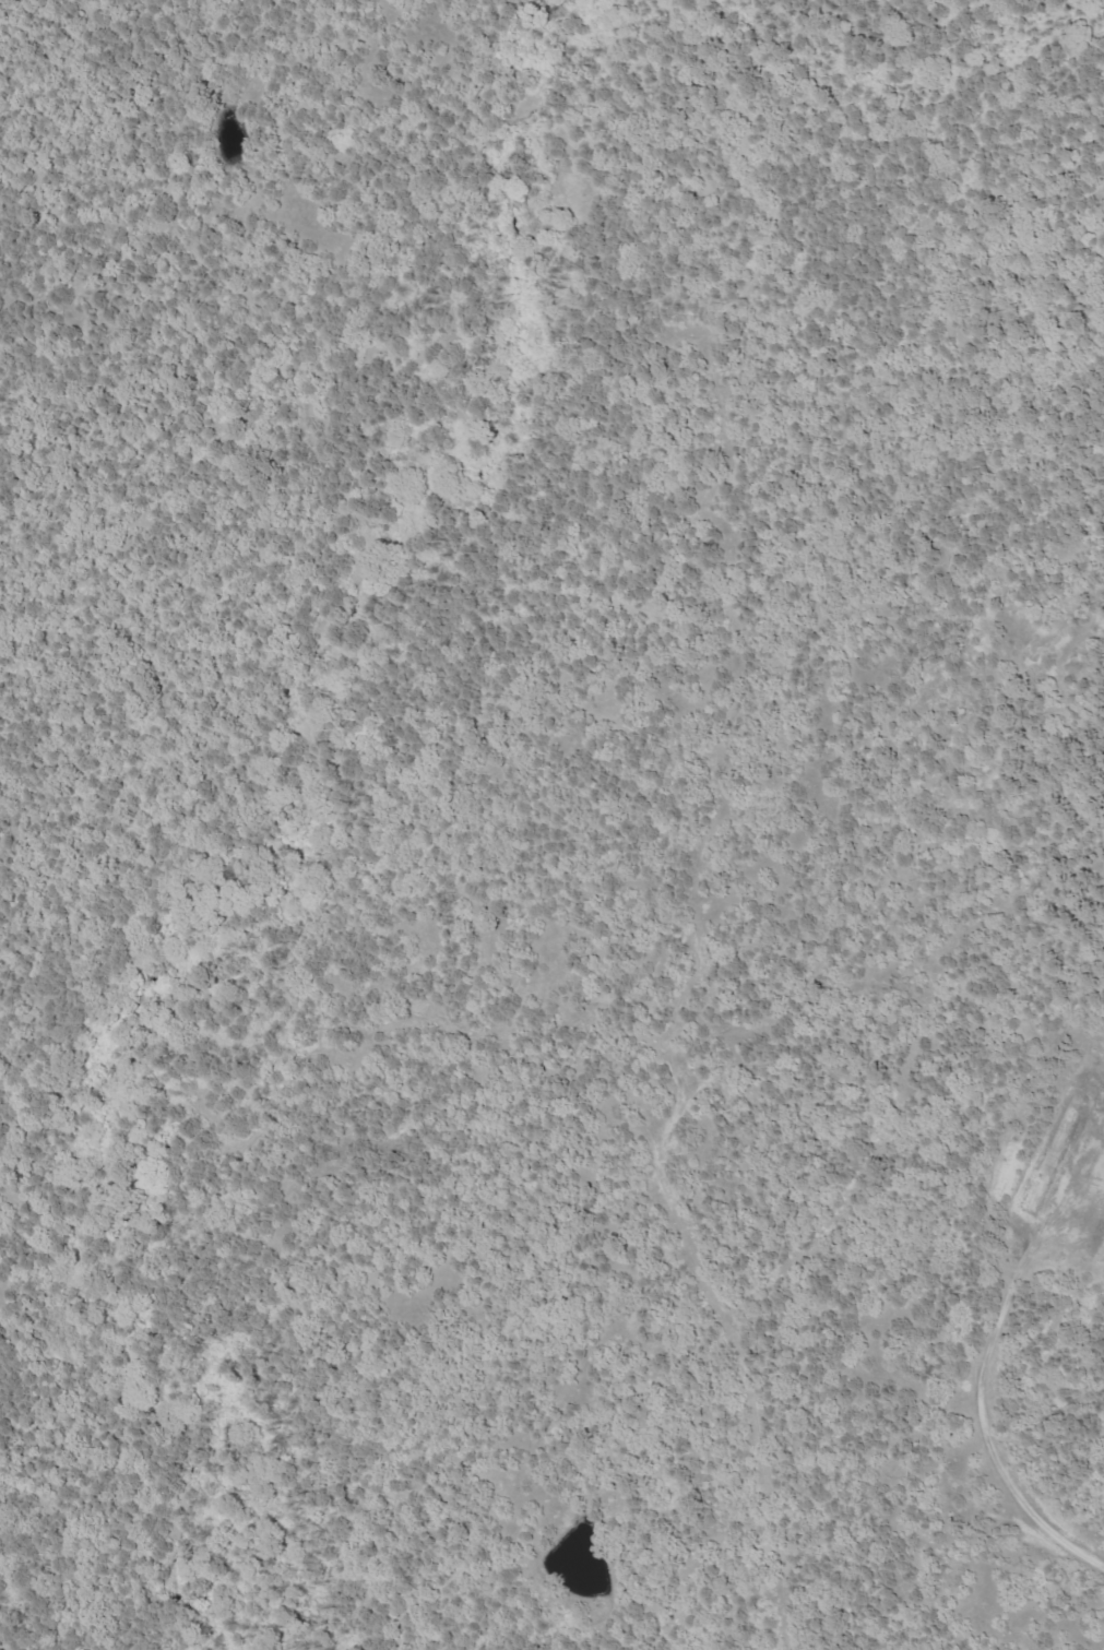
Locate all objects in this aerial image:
road: (1058, 1294)
road: (982, 1381)

